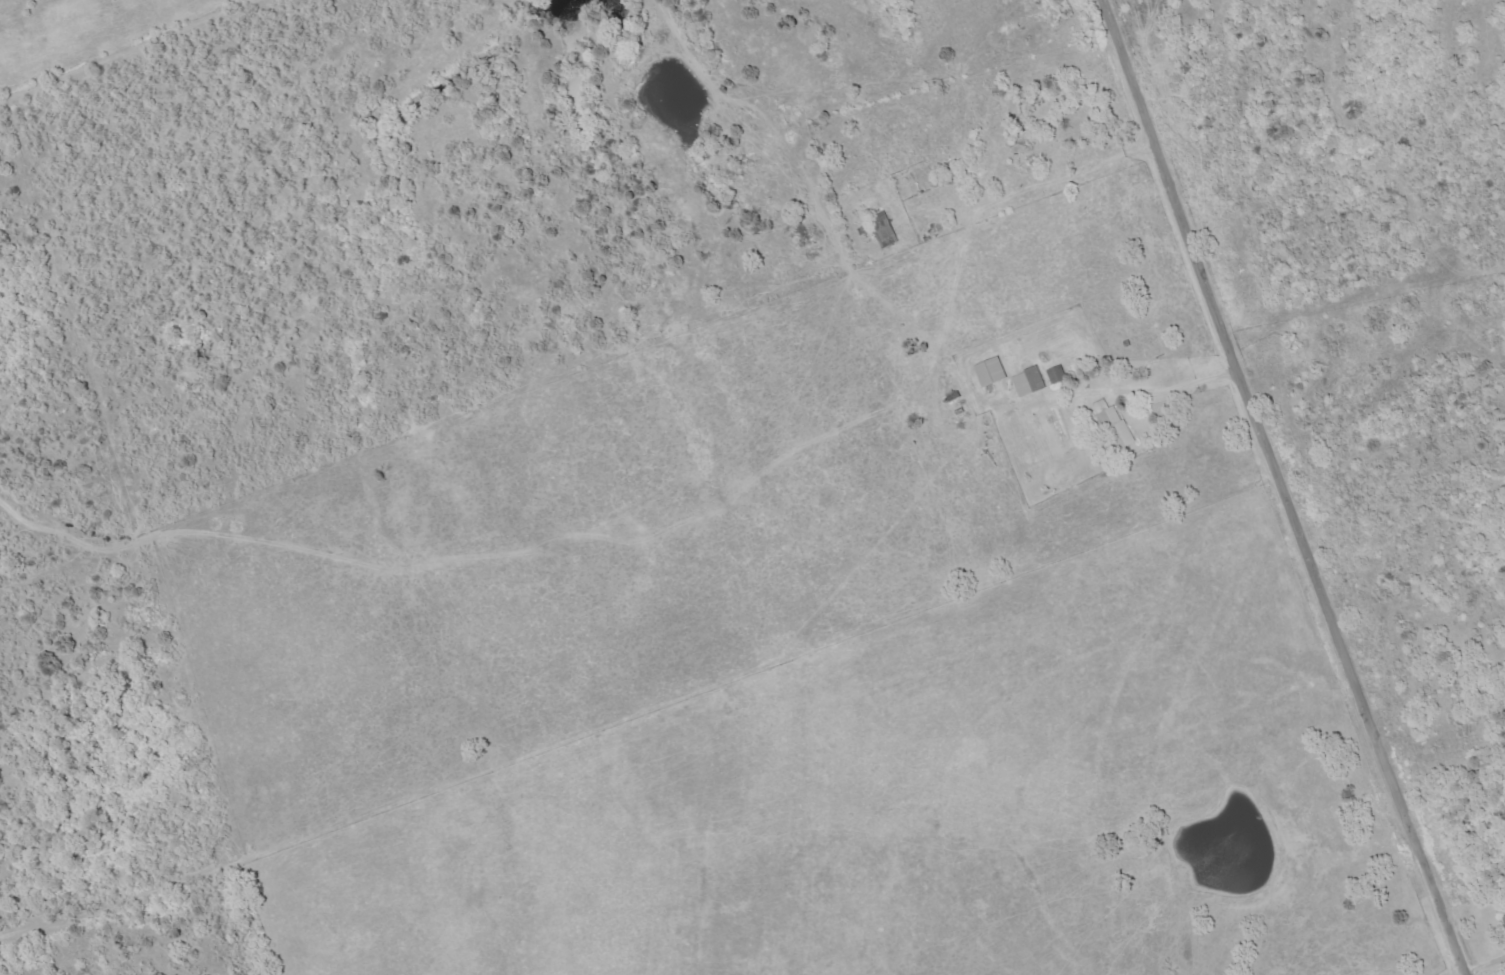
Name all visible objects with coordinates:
building: (992, 371)
building: (1030, 381)
building: (1115, 424)
road: (1284, 488)

